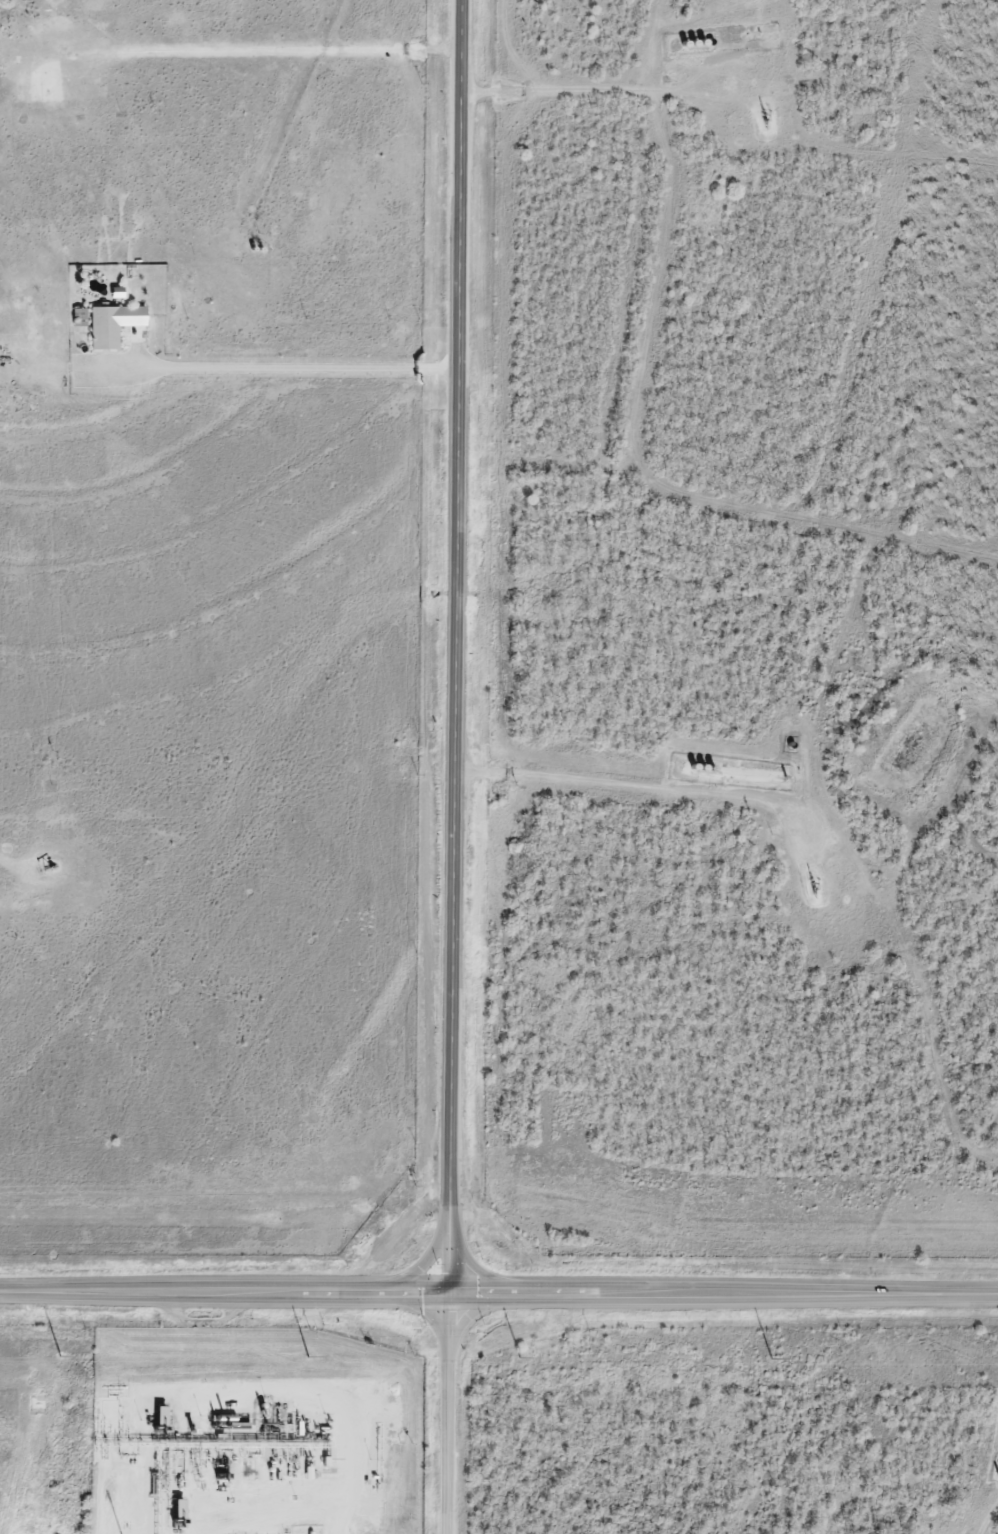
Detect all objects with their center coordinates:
building: (114, 324)
road: (265, 366)
road: (451, 644)
traffic signals: (445, 1289)
road: (499, 1289)
power tower: (310, 1354)
power tower: (60, 1355)
power tower: (520, 1356)
power tower: (772, 1358)
road: (444, 1411)

